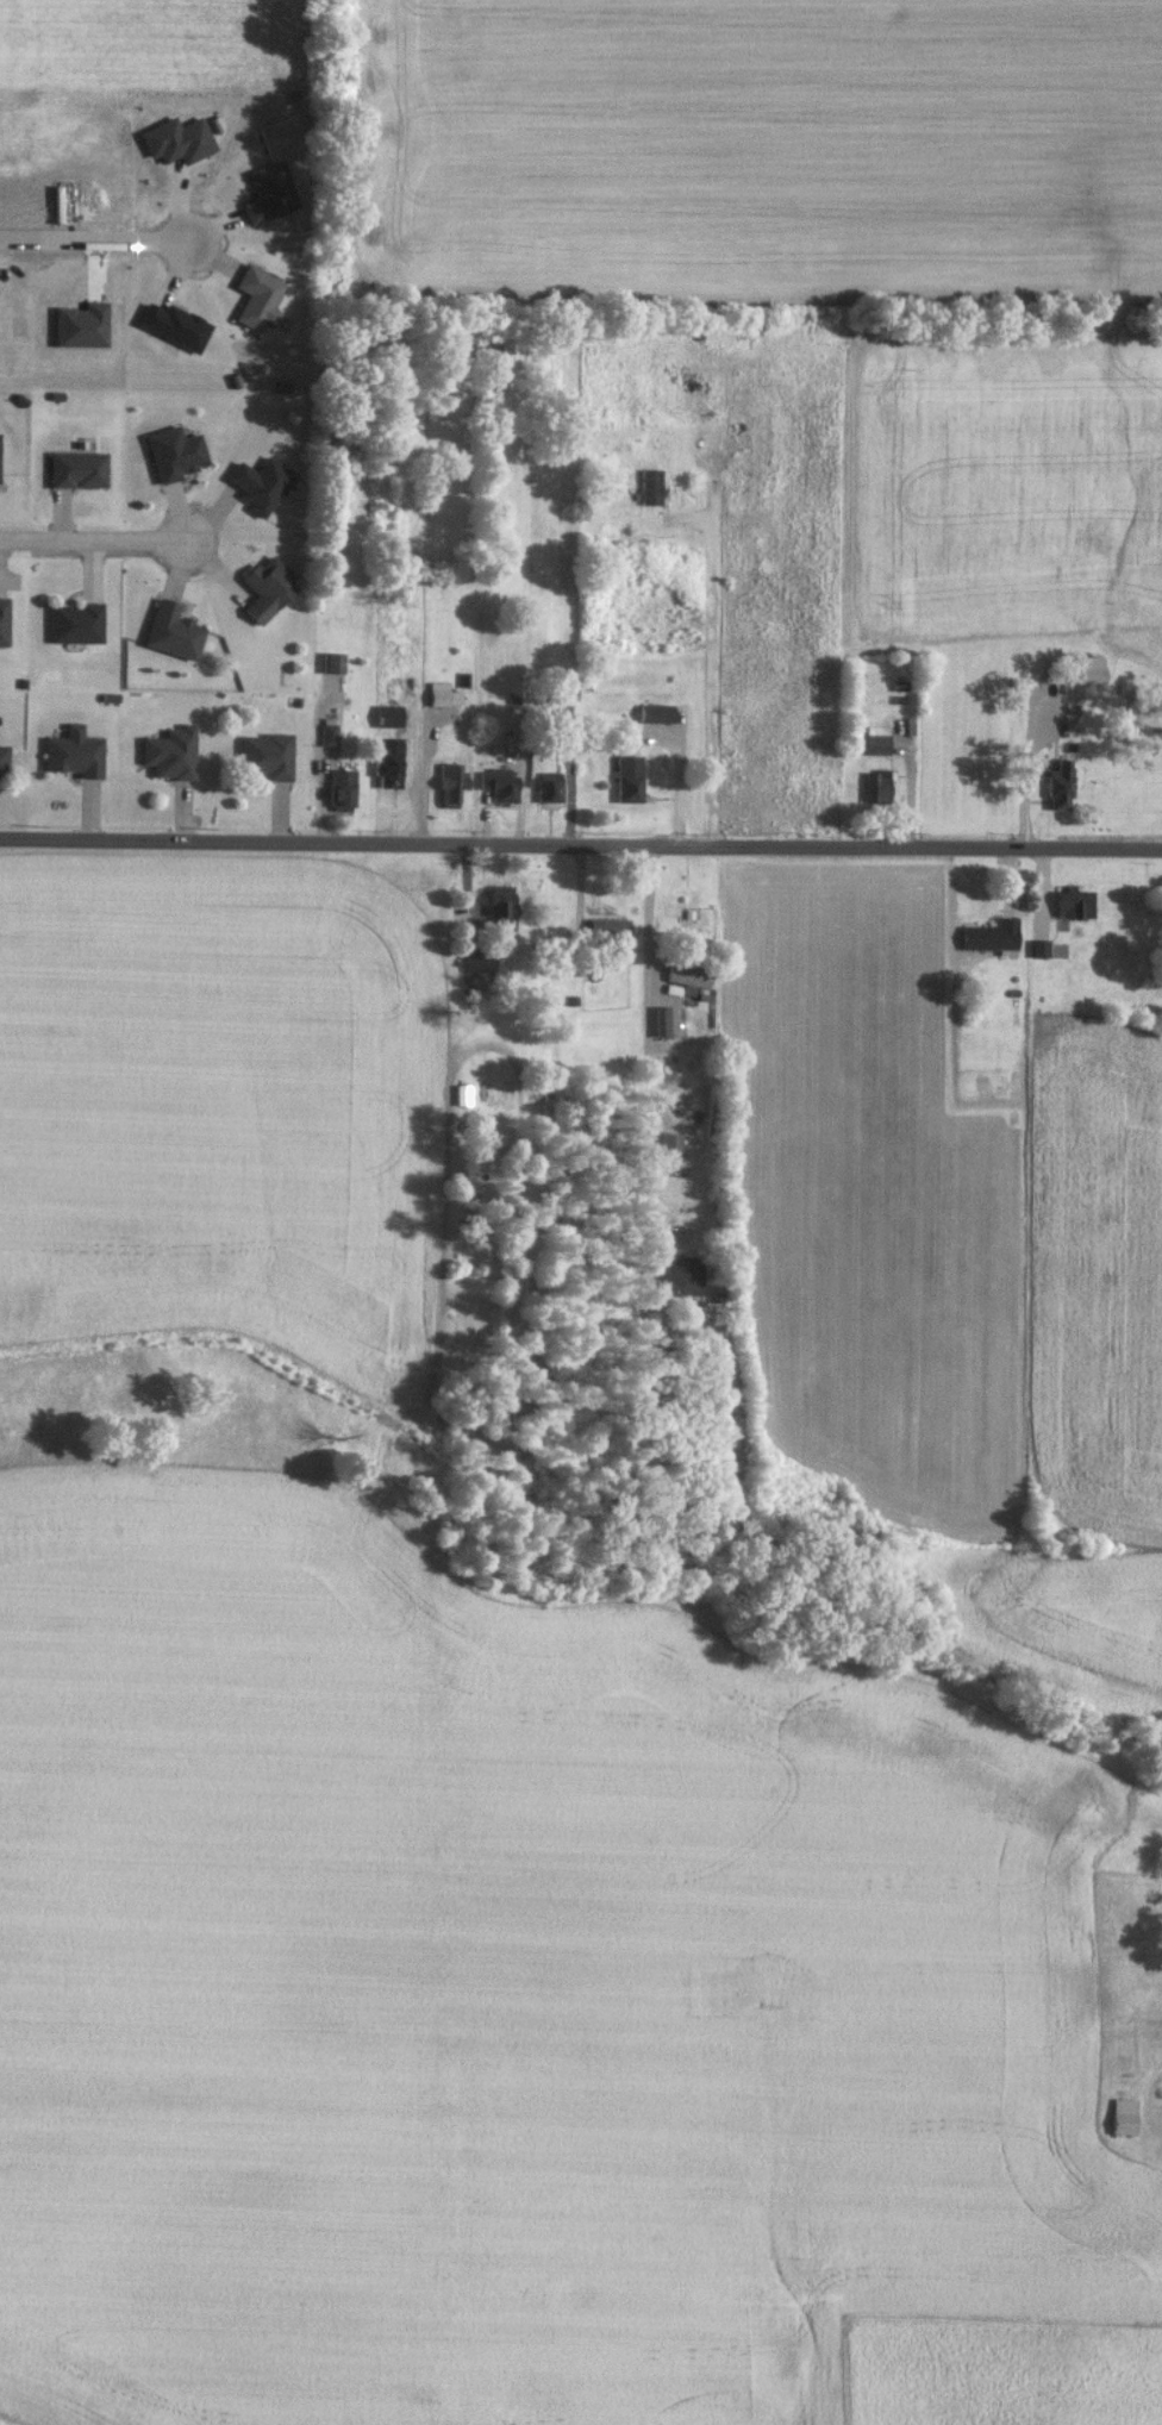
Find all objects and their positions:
building: (176, 139)
building: (269, 192)
road: (95, 238)
building: (257, 298)
building: (81, 325)
building: (174, 325)
building: (174, 451)
building: (77, 468)
building: (261, 483)
building: (650, 485)
road: (95, 539)
building: (267, 587)
building: (4, 619)
building: (75, 621)
building: (173, 630)
road: (712, 646)
building: (332, 661)
building: (1080, 668)
building: (442, 693)
building: (656, 712)
building: (388, 714)
building: (326, 733)
building: (871, 738)
road: (1031, 750)
building: (73, 751)
building: (170, 751)
building: (267, 755)
building: (4, 758)
building: (388, 761)
building: (629, 777)
building: (451, 781)
building: (499, 783)
building: (549, 785)
building: (1052, 785)
building: (870, 786)
building: (342, 788)
road: (581, 846)
building: (500, 900)
building: (1067, 901)
building: (608, 925)
building: (983, 935)
building: (479, 960)
building: (688, 973)
building: (664, 1020)
road: (645, 1051)
building: (671, 1146)
building: (676, 1276)
road: (1150, 2088)
building: (1123, 2114)

